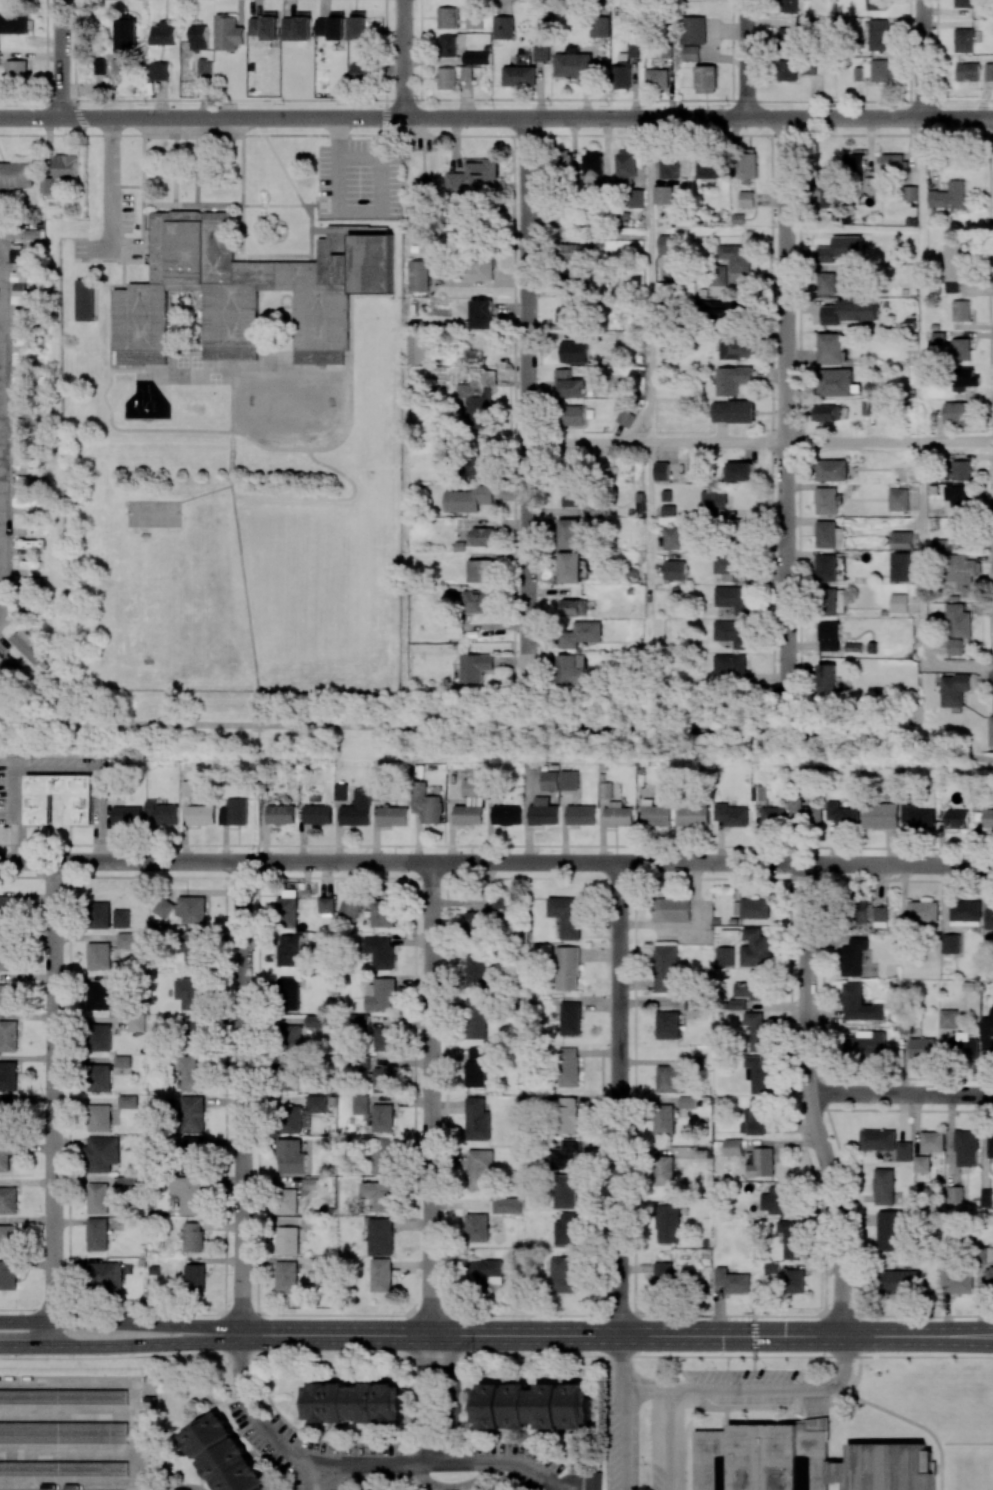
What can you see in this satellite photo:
building: (964, 3)
building: (876, 4)
building: (789, 5)
building: (447, 17)
building: (13, 23)
building: (358, 25)
building: (265, 26)
building: (332, 26)
building: (599, 26)
building: (297, 27)
building: (503, 27)
building: (693, 30)
building: (163, 33)
building: (228, 33)
building: (878, 34)
building: (125, 36)
building: (198, 37)
building: (964, 40)
building: (448, 46)
building: (542, 53)
building: (690, 53)
building: (477, 57)
road: (60, 58)
road: (402, 58)
road: (746, 59)
road: (922, 59)
building: (0, 62)
building: (574, 64)
building: (99, 66)
building: (204, 66)
building: (623, 69)
building: (787, 70)
building: (880, 70)
building: (16, 71)
building: (159, 71)
building: (361, 71)
building: (968, 71)
building: (989, 72)
building: (519, 76)
building: (447, 78)
building: (656, 78)
building: (705, 79)
road: (496, 117)
road: (338, 138)
building: (853, 162)
building: (893, 162)
building: (561, 163)
building: (747, 163)
building: (65, 166)
building: (625, 166)
building: (669, 167)
building: (708, 167)
building: (593, 168)
building: (472, 175)
building: (16, 176)
parking lot: (359, 180)
road: (110, 182)
building: (49, 185)
building: (826, 187)
building: (909, 192)
building: (663, 194)
building: (948, 196)
building: (637, 197)
building: (746, 198)
building: (422, 199)
road: (381, 211)
parking lot: (107, 230)
building: (666, 244)
road: (128, 247)
building: (840, 249)
building: (578, 252)
building: (20, 255)
building: (736, 257)
building: (477, 268)
building: (953, 268)
building: (571, 275)
building: (717, 275)
building: (24, 276)
building: (419, 276)
road: (649, 279)
building: (826, 282)
building: (675, 288)
building: (247, 289)
building: (19, 294)
building: (85, 299)
building: (720, 308)
building: (851, 310)
building: (961, 310)
building: (481, 314)
building: (567, 315)
building: (418, 347)
building: (737, 347)
building: (831, 348)
building: (960, 349)
building: (573, 351)
building: (964, 378)
building: (732, 379)
building: (834, 382)
building: (570, 384)
road: (527, 395)
road: (990, 395)
building: (477, 397)
building: (868, 407)
road: (786, 408)
building: (733, 411)
building: (828, 412)
building: (956, 412)
building: (573, 415)
building: (625, 418)
road: (760, 441)
building: (481, 464)
building: (832, 470)
building: (961, 470)
building: (661, 471)
building: (739, 471)
building: (569, 491)
building: (958, 495)
building: (468, 499)
building: (898, 499)
building: (713, 500)
building: (827, 500)
park: (153, 513)
building: (959, 530)
building: (569, 533)
building: (827, 534)
building: (484, 536)
building: (841, 537)
building: (672, 538)
building: (902, 540)
road: (650, 545)
road: (239, 547)
building: (570, 567)
building: (732, 567)
building: (827, 567)
building: (900, 567)
building: (675, 569)
building: (480, 570)
building: (961, 571)
road: (922, 583)
building: (734, 598)
building: (479, 601)
building: (833, 601)
building: (899, 602)
building: (575, 607)
building: (959, 620)
building: (731, 632)
building: (582, 634)
building: (828, 636)
building: (24, 645)
building: (954, 646)
building: (4, 665)
building: (475, 667)
building: (731, 667)
building: (573, 669)
building: (827, 677)
road: (991, 678)
building: (954, 689)
road: (792, 713)
road: (498, 728)
building: (991, 730)
road: (59, 770)
building: (549, 780)
building: (569, 780)
building: (606, 790)
building: (341, 791)
road: (257, 793)
building: (758, 793)
building: (426, 803)
building: (470, 803)
building: (80, 809)
building: (357, 809)
building: (162, 812)
building: (234, 812)
building: (543, 812)
building: (805, 813)
building: (200, 814)
building: (281, 814)
building: (318, 814)
building: (581, 814)
building: (618, 814)
building: (656, 814)
building: (731, 814)
building: (915, 814)
building: (506, 815)
building: (695, 815)
building: (842, 815)
building: (880, 815)
building: (126, 816)
building: (393, 816)
building: (773, 816)
building: (988, 817)
building: (957, 818)
road: (496, 862)
building: (501, 903)
building: (326, 905)
building: (751, 908)
building: (184, 909)
building: (286, 909)
building: (672, 909)
building: (349, 910)
building: (859, 910)
building: (922, 911)
building: (7, 912)
building: (382, 914)
building: (99, 915)
building: (567, 915)
building: (964, 915)
building: (880, 916)
building: (988, 916)
building: (121, 918)
building: (475, 921)
building: (126, 940)
building: (950, 943)
building: (756, 947)
building: (193, 949)
building: (287, 949)
building: (379, 951)
building: (7, 954)
building: (99, 955)
building: (724, 956)
building: (853, 956)
building: (567, 968)
building: (666, 968)
building: (477, 969)
building: (753, 986)
building: (287, 992)
building: (189, 993)
building: (380, 994)
building: (99, 996)
building: (8, 997)
building: (737, 1004)
building: (859, 1004)
building: (571, 1018)
building: (949, 1018)
building: (475, 1019)
building: (312, 1020)
building: (360, 1021)
building: (135, 1023)
building: (668, 1025)
building: (194, 1028)
building: (756, 1030)
building: (987, 1032)
building: (8, 1035)
building: (100, 1037)
building: (289, 1038)
building: (383, 1039)
building: (866, 1043)
building: (963, 1047)
building: (921, 1049)
building: (122, 1061)
building: (476, 1066)
building: (569, 1067)
building: (190, 1072)
building: (757, 1074)
building: (8, 1075)
building: (289, 1075)
building: (98, 1077)
building: (384, 1078)
building: (671, 1080)
road: (900, 1092)
road: (242, 1097)
road: (431, 1098)
road: (619, 1098)
building: (127, 1101)
road: (809, 1101)
building: (686, 1102)
building: (315, 1103)
road: (54, 1104)
building: (193, 1114)
building: (7, 1115)
building: (565, 1115)
building: (99, 1117)
building: (754, 1117)
building: (382, 1118)
building: (287, 1119)
building: (476, 1119)
building: (663, 1119)
building: (932, 1141)
building: (878, 1142)
building: (990, 1144)
building: (192, 1147)
building: (732, 1147)
building: (966, 1148)
building: (904, 1150)
building: (101, 1153)
building: (6, 1154)
building: (382, 1155)
building: (564, 1155)
building: (291, 1156)
building: (759, 1162)
building: (921, 1163)
building: (479, 1169)
building: (663, 1170)
building: (884, 1186)
building: (567, 1191)
building: (190, 1194)
building: (379, 1194)
building: (954, 1194)
building: (986, 1197)
building: (97, 1198)
building: (776, 1199)
building: (8, 1200)
building: (286, 1201)
building: (507, 1203)
building: (668, 1223)
building: (476, 1227)
building: (570, 1229)
building: (890, 1230)
building: (97, 1234)
building: (381, 1236)
building: (8, 1237)
building: (193, 1237)
building: (792, 1239)
building: (286, 1240)
building: (986, 1254)
building: (320, 1267)
building: (484, 1273)
building: (663, 1273)
building: (565, 1274)
building: (8, 1275)
building: (382, 1275)
building: (104, 1276)
building: (195, 1277)
building: (286, 1277)
building: (988, 1277)
building: (733, 1280)
building: (958, 1280)
building: (795, 1281)
building: (897, 1281)
road: (121, 1322)
road: (542, 1334)
road: (753, 1336)
traffic signals: (753, 1336)
road: (918, 1336)
road: (121, 1346)
road: (496, 1355)
road: (620, 1360)
parking lot: (749, 1381)
road: (646, 1389)
road: (777, 1391)
road: (448, 1395)
building: (64, 1396)
road: (422, 1396)
building: (352, 1402)
building: (530, 1405)
building: (63, 1431)
road: (625, 1437)
road: (668, 1441)
building: (224, 1455)
parking lot: (635, 1459)
building: (812, 1460)
road: (355, 1464)
building: (63, 1467)
road: (313, 1477)
building: (593, 1481)
building: (182, 1489)

